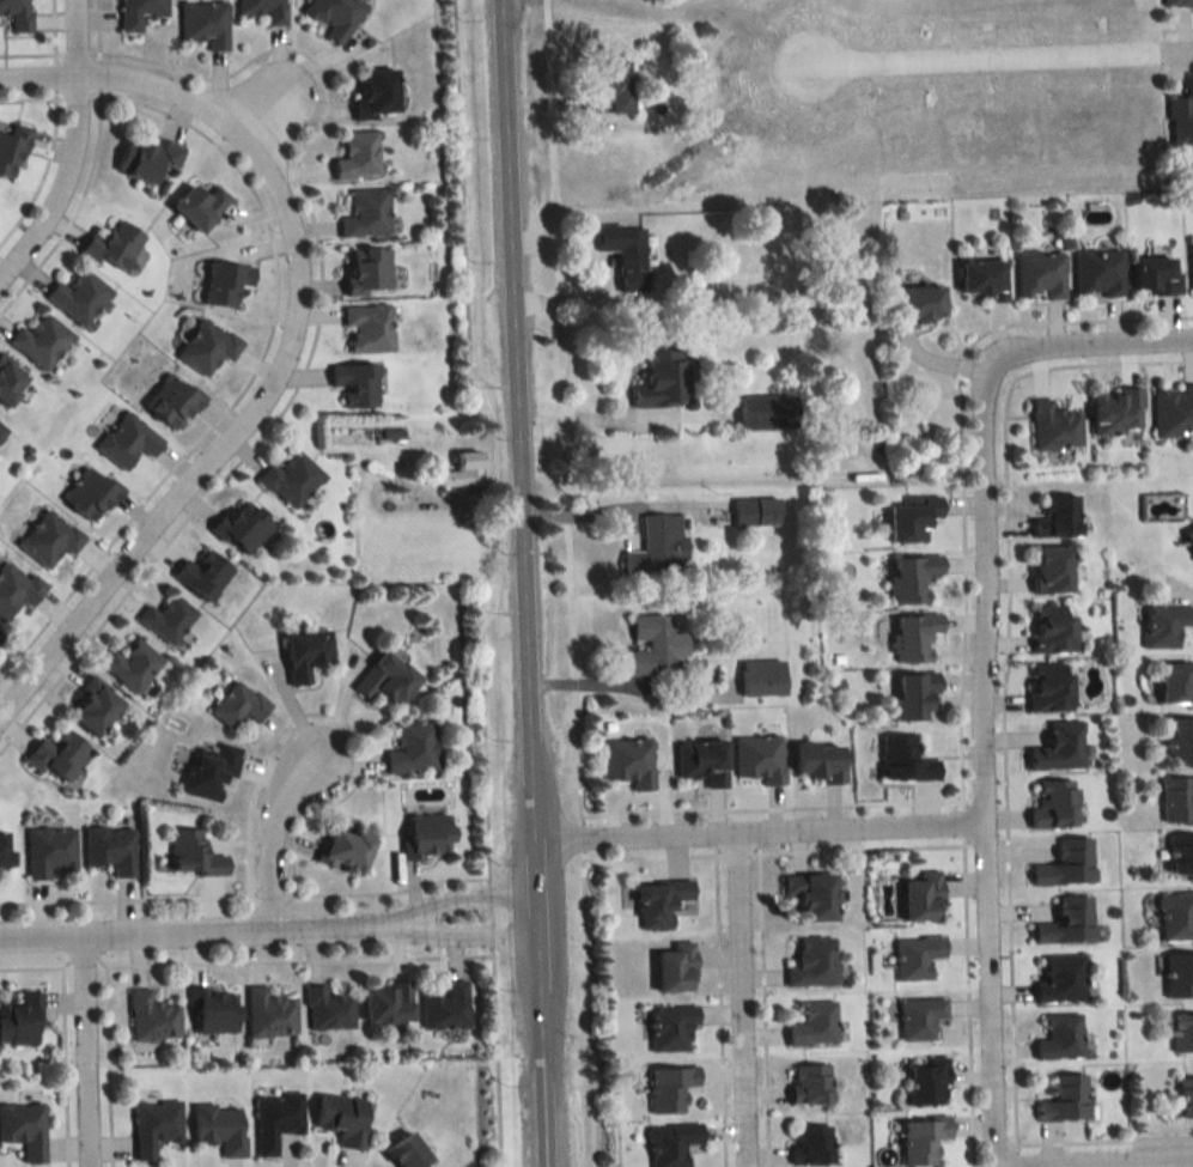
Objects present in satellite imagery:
building: (1175, 1)
building: (266, 10)
building: (17, 13)
building: (139, 13)
building: (336, 16)
building: (206, 22)
road: (1004, 57)
road: (39, 80)
building: (615, 84)
building: (377, 92)
building: (1179, 122)
building: (12, 148)
road: (73, 150)
building: (358, 154)
building: (147, 157)
road: (459, 183)
building: (201, 203)
building: (367, 213)
building: (115, 245)
building: (632, 259)
building: (1188, 267)
building: (369, 269)
building: (1096, 272)
building: (1041, 274)
building: (984, 276)
building: (1150, 276)
building: (226, 281)
building: (79, 296)
building: (920, 303)
building: (369, 327)
building: (42, 341)
road: (1079, 344)
building: (208, 345)
road: (263, 367)
building: (663, 378)
building: (10, 379)
building: (357, 383)
building: (174, 399)
building: (768, 409)
building: (1115, 409)
building: (1171, 411)
road: (594, 419)
building: (1055, 425)
building: (1, 430)
building: (352, 434)
building: (128, 438)
building: (463, 469)
building: (292, 479)
building: (91, 493)
road: (494, 493)
road: (603, 506)
building: (755, 510)
building: (1059, 516)
building: (912, 521)
building: (243, 525)
building: (50, 537)
building: (1187, 541)
building: (657, 546)
building: (1053, 569)
building: (205, 573)
building: (913, 577)
road: (528, 583)
road: (570, 583)
building: (16, 586)
building: (170, 621)
building: (1161, 625)
building: (1052, 627)
building: (1, 633)
building: (915, 636)
building: (650, 643)
building: (308, 654)
building: (132, 665)
building: (388, 677)
building: (762, 677)
building: (1170, 682)
building: (1051, 687)
building: (915, 695)
building: (239, 705)
building: (96, 707)
building: (1177, 741)
building: (1060, 747)
building: (413, 748)
building: (59, 754)
building: (760, 758)
building: (906, 759)
building: (631, 761)
building: (704, 761)
building: (818, 761)
building: (211, 772)
road: (985, 772)
building: (1175, 800)
building: (1055, 804)
road: (273, 833)
road: (765, 833)
building: (428, 834)
building: (111, 847)
building: (346, 849)
building: (5, 850)
building: (49, 850)
building: (194, 853)
building: (1177, 857)
building: (1067, 864)
building: (812, 894)
building: (923, 894)
road: (493, 895)
road: (465, 898)
building: (662, 901)
building: (1174, 916)
building: (1069, 922)
road: (196, 929)
road: (467, 937)
building: (917, 955)
building: (812, 962)
building: (676, 967)
building: (1176, 975)
building: (1061, 979)
road: (745, 1001)
building: (388, 1002)
building: (446, 1007)
building: (328, 1009)
building: (215, 1010)
building: (269, 1013)
building: (152, 1016)
building: (920, 1017)
building: (20, 1021)
building: (814, 1025)
building: (671, 1027)
building: (1179, 1032)
building: (1061, 1037)
road: (84, 1050)
building: (927, 1081)
building: (810, 1083)
building: (671, 1088)
building: (1182, 1098)
building: (1066, 1099)
building: (276, 1119)
building: (345, 1119)
building: (154, 1126)
building: (220, 1126)
building: (24, 1129)
building: (924, 1139)
building: (671, 1143)
building: (811, 1145)
building: (408, 1151)
road: (1096, 1157)

